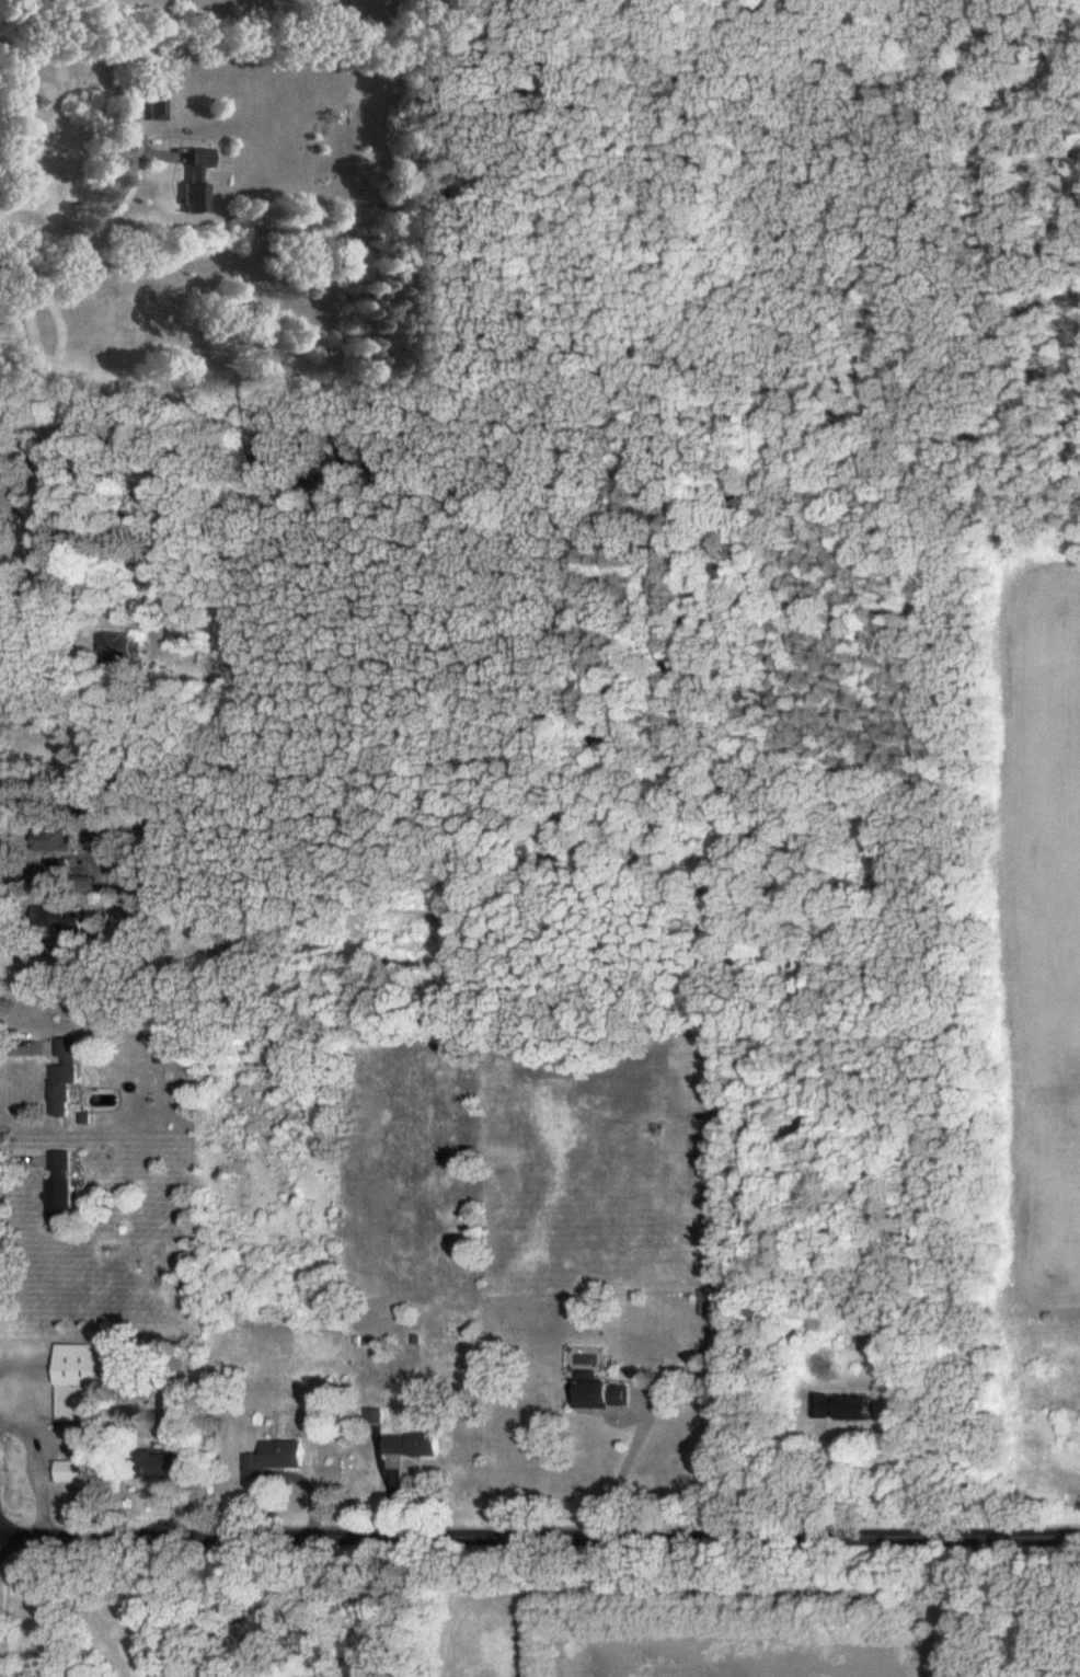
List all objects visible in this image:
building: (161, 107)
building: (200, 182)
road: (84, 218)
building: (174, 636)
building: (117, 650)
building: (50, 842)
building: (59, 922)
building: (173, 1056)
building: (62, 1078)
building: (60, 1183)
building: (710, 1305)
building: (91, 1380)
building: (600, 1395)
building: (845, 1409)
building: (413, 1446)
building: (274, 1461)
building: (168, 1466)
road: (623, 1471)
building: (74, 1473)
road: (540, 1538)
road: (954, 1608)

